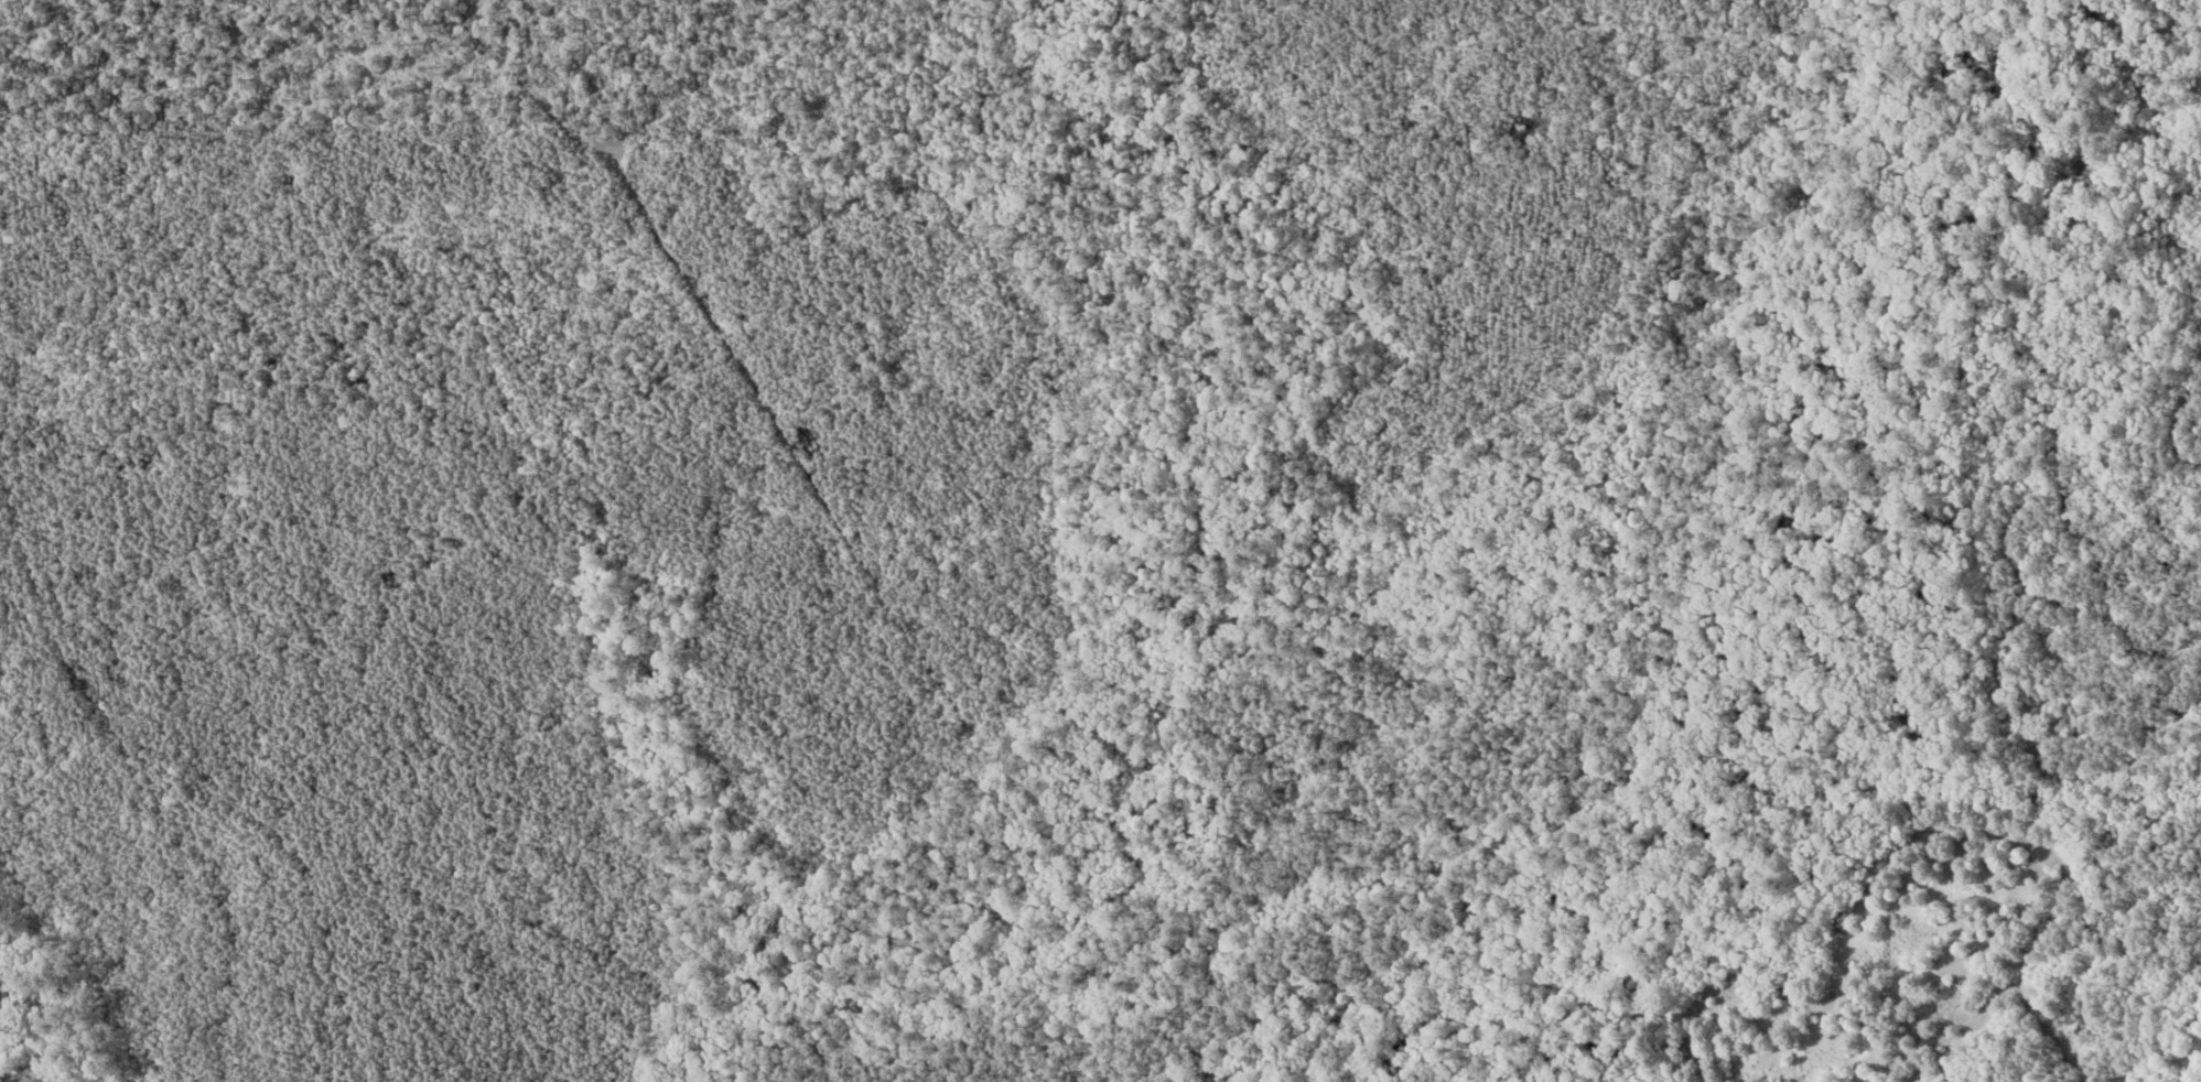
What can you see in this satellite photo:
road: (734, 346)

